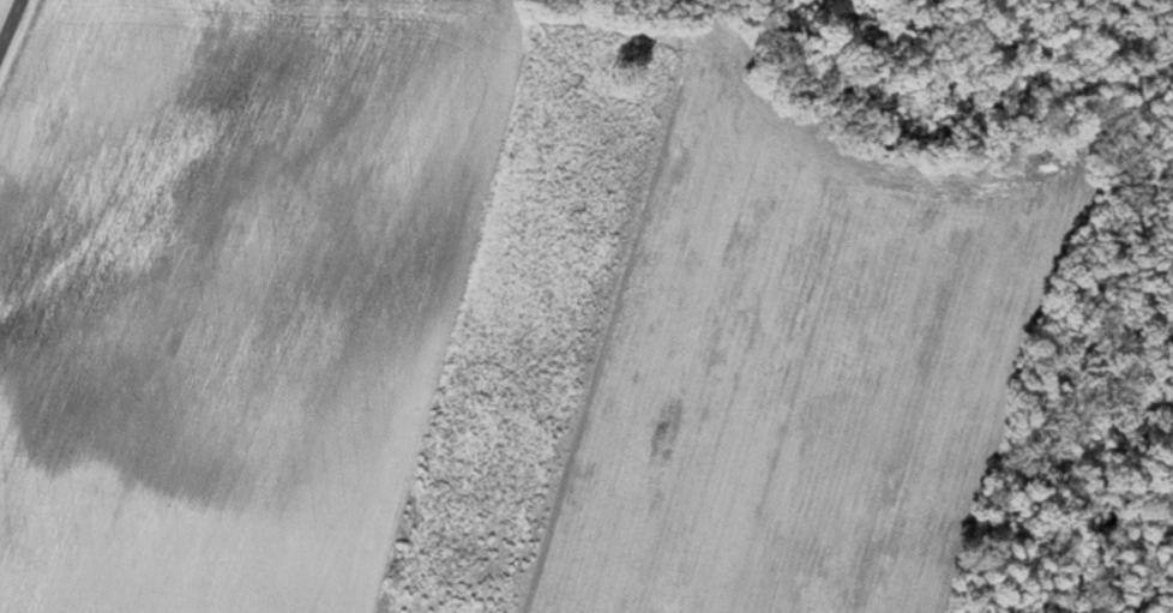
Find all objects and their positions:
road: (7, 18)

